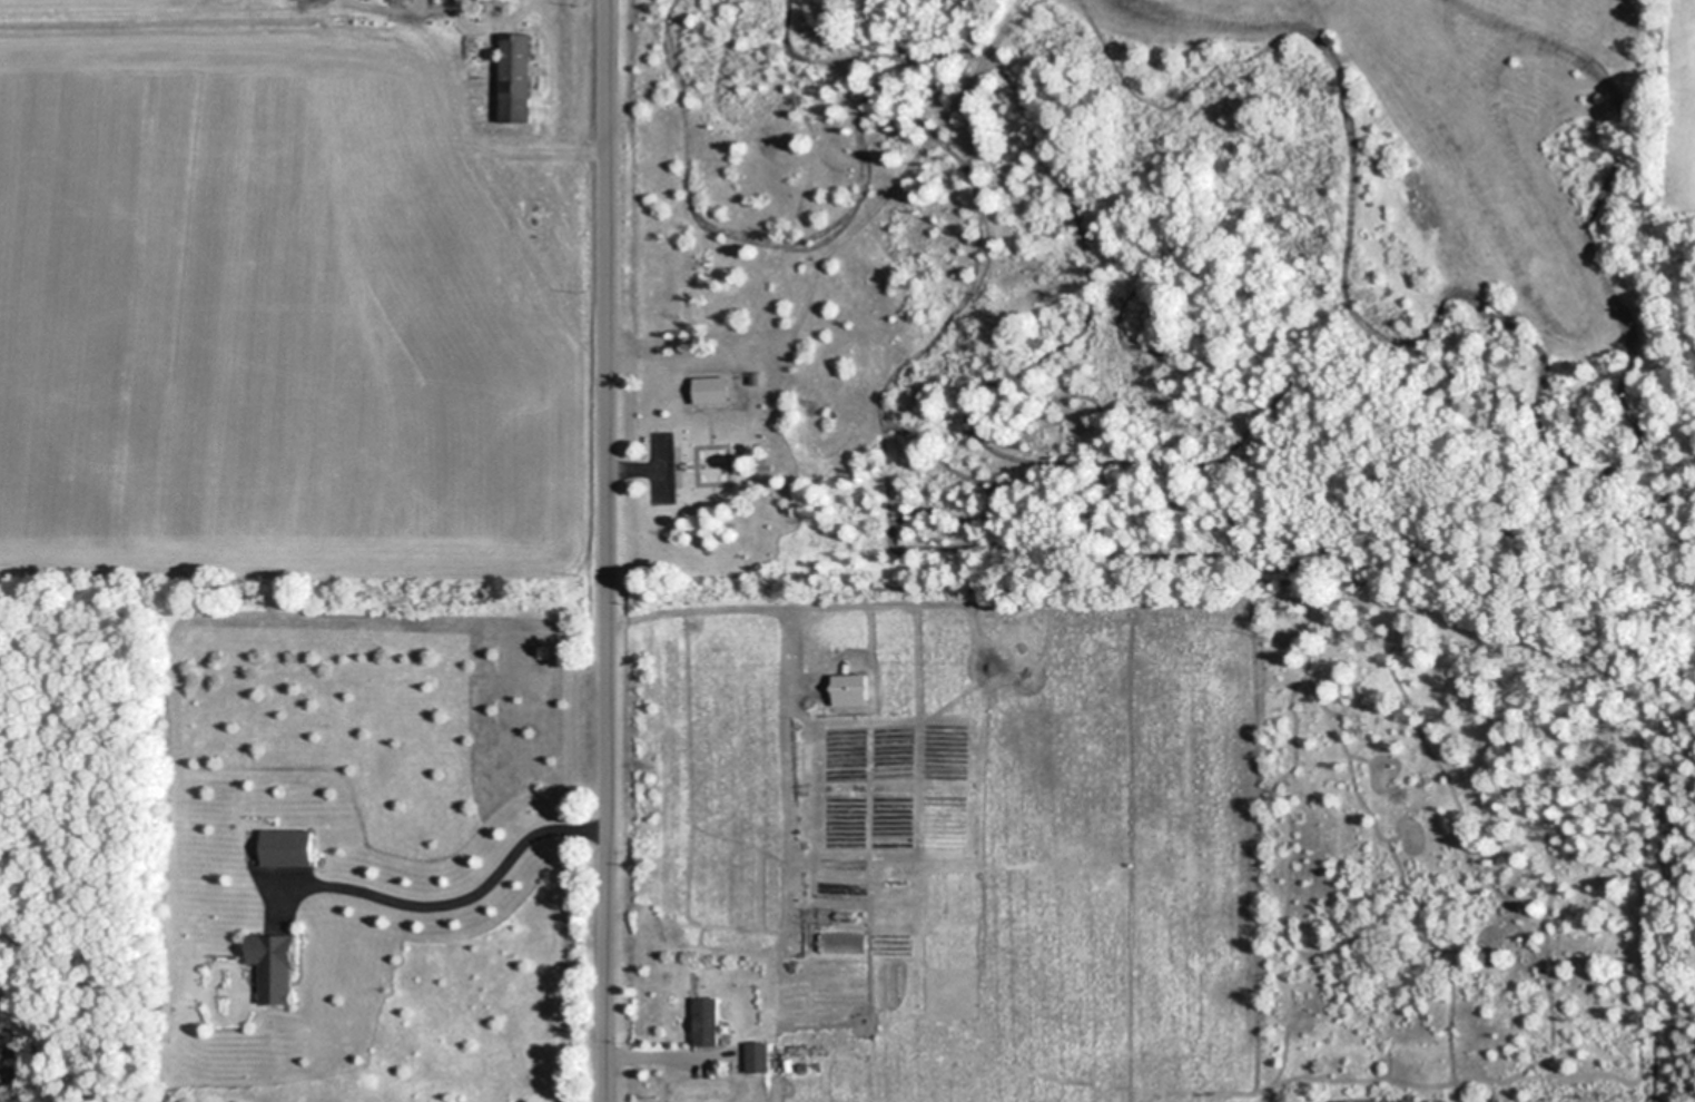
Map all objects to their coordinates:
building: (519, 77)
park: (1382, 155)
building: (713, 390)
park: (722, 465)
road: (608, 551)
building: (854, 690)
building: (290, 847)
building: (277, 967)
building: (707, 1022)
building: (759, 1057)

